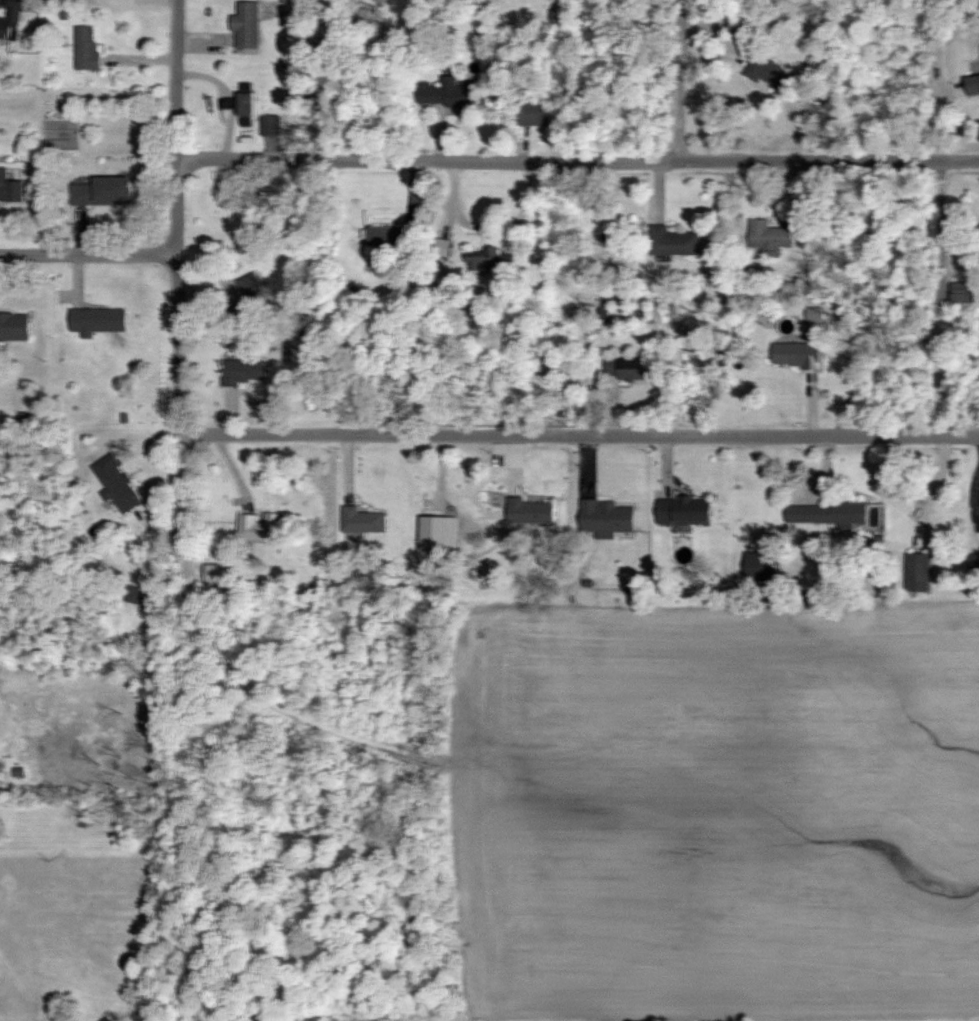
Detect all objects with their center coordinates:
building: (12, 21)
building: (247, 24)
building: (86, 48)
building: (770, 73)
road: (682, 81)
building: (973, 84)
building: (446, 92)
building: (243, 106)
building: (534, 112)
building: (270, 124)
road: (178, 128)
road: (578, 162)
building: (10, 188)
building: (103, 191)
building: (978, 228)
building: (391, 235)
building: (768, 238)
building: (673, 242)
road: (89, 256)
building: (487, 260)
building: (250, 298)
road: (956, 300)
building: (97, 320)
building: (14, 326)
road: (181, 346)
building: (795, 355)
building: (624, 368)
building: (242, 371)
road: (580, 437)
building: (118, 487)
building: (684, 510)
building: (530, 511)
building: (825, 513)
building: (605, 516)
building: (976, 518)
building: (361, 520)
building: (259, 527)
road: (179, 528)
building: (917, 566)
building: (137, 595)

